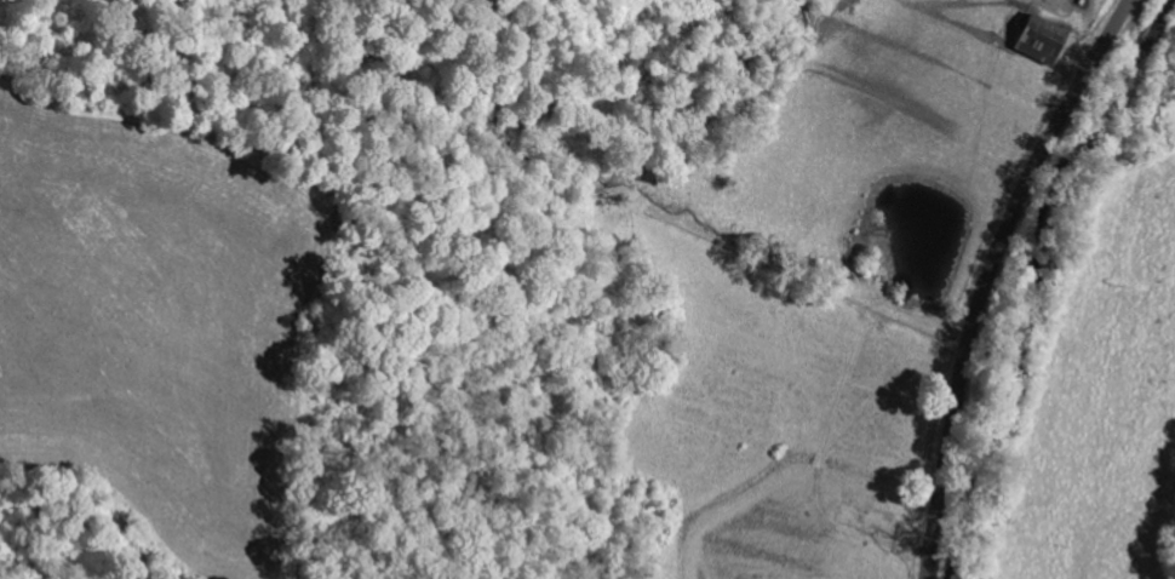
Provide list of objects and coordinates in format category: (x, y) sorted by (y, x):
building: (1044, 39)
road: (985, 275)

